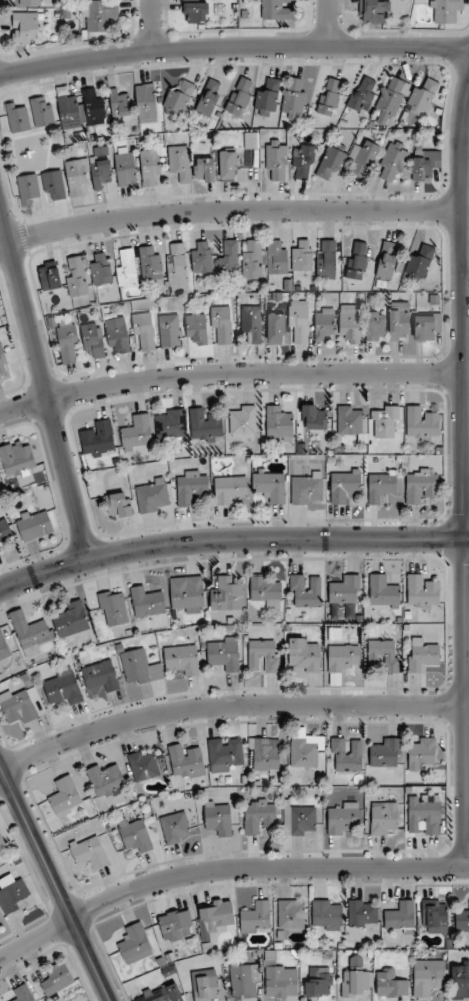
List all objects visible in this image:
building: (30, 2)
building: (278, 10)
building: (445, 10)
building: (195, 11)
building: (374, 11)
building: (98, 14)
road: (329, 22)
road: (152, 25)
building: (25, 28)
road: (233, 45)
building: (363, 94)
building: (239, 97)
building: (329, 97)
building: (209, 98)
building: (293, 98)
building: (422, 98)
building: (267, 99)
building: (178, 100)
building: (391, 100)
building: (146, 103)
building: (120, 106)
building: (93, 108)
building: (71, 112)
building: (42, 113)
building: (17, 119)
road: (465, 138)
building: (251, 141)
building: (364, 158)
building: (276, 160)
building: (179, 162)
building: (302, 162)
building: (331, 162)
building: (392, 162)
building: (424, 164)
building: (228, 165)
building: (150, 166)
building: (125, 167)
building: (204, 170)
building: (100, 173)
building: (77, 176)
building: (54, 183)
building: (28, 189)
road: (228, 210)
building: (302, 255)
building: (276, 257)
building: (202, 258)
building: (229, 258)
building: (253, 259)
building: (326, 259)
building: (357, 261)
building: (387, 261)
building: (419, 264)
building: (151, 265)
building: (126, 268)
building: (101, 270)
building: (178, 271)
building: (49, 276)
building: (76, 277)
building: (298, 321)
building: (399, 321)
building: (252, 323)
building: (324, 323)
building: (350, 323)
building: (221, 325)
building: (376, 326)
building: (426, 326)
building: (276, 329)
building: (196, 330)
building: (170, 331)
building: (143, 332)
building: (118, 336)
building: (92, 341)
building: (68, 342)
road: (228, 374)
road: (43, 386)
building: (314, 418)
building: (242, 420)
building: (350, 421)
building: (384, 421)
building: (421, 423)
building: (170, 424)
building: (278, 424)
building: (204, 425)
building: (137, 432)
building: (98, 440)
building: (17, 458)
road: (463, 476)
building: (381, 485)
building: (191, 486)
building: (344, 486)
building: (421, 486)
building: (270, 487)
building: (307, 488)
building: (229, 489)
building: (152, 496)
building: (118, 505)
building: (33, 525)
building: (4, 531)
road: (231, 540)
building: (266, 591)
building: (305, 591)
building: (345, 591)
building: (383, 592)
building: (422, 592)
building: (227, 594)
building: (187, 595)
building: (146, 602)
building: (113, 608)
building: (71, 620)
building: (32, 636)
building: (4, 650)
building: (223, 653)
building: (384, 654)
building: (304, 655)
building: (421, 655)
building: (263, 656)
building: (182, 660)
building: (341, 661)
building: (139, 668)
building: (101, 676)
building: (64, 688)
building: (17, 707)
road: (228, 707)
building: (305, 748)
building: (385, 753)
building: (265, 754)
building: (225, 755)
building: (347, 755)
building: (422, 755)
building: (185, 762)
building: (143, 765)
building: (106, 781)
building: (65, 796)
building: (259, 815)
building: (424, 816)
building: (342, 818)
building: (218, 819)
building: (383, 819)
building: (299, 821)
building: (175, 828)
building: (136, 835)
building: (2, 842)
building: (89, 853)
road: (223, 869)
road: (56, 882)
building: (13, 894)
building: (362, 913)
building: (291, 914)
building: (326, 915)
building: (217, 916)
building: (435, 917)
building: (255, 918)
building: (400, 918)
building: (462, 920)
building: (176, 925)
building: (134, 944)
building: (428, 978)
building: (57, 979)
building: (245, 980)
building: (355, 980)
building: (460, 980)
building: (281, 981)
building: (318, 983)
building: (391, 984)
building: (206, 985)
building: (163, 993)
building: (22, 994)

